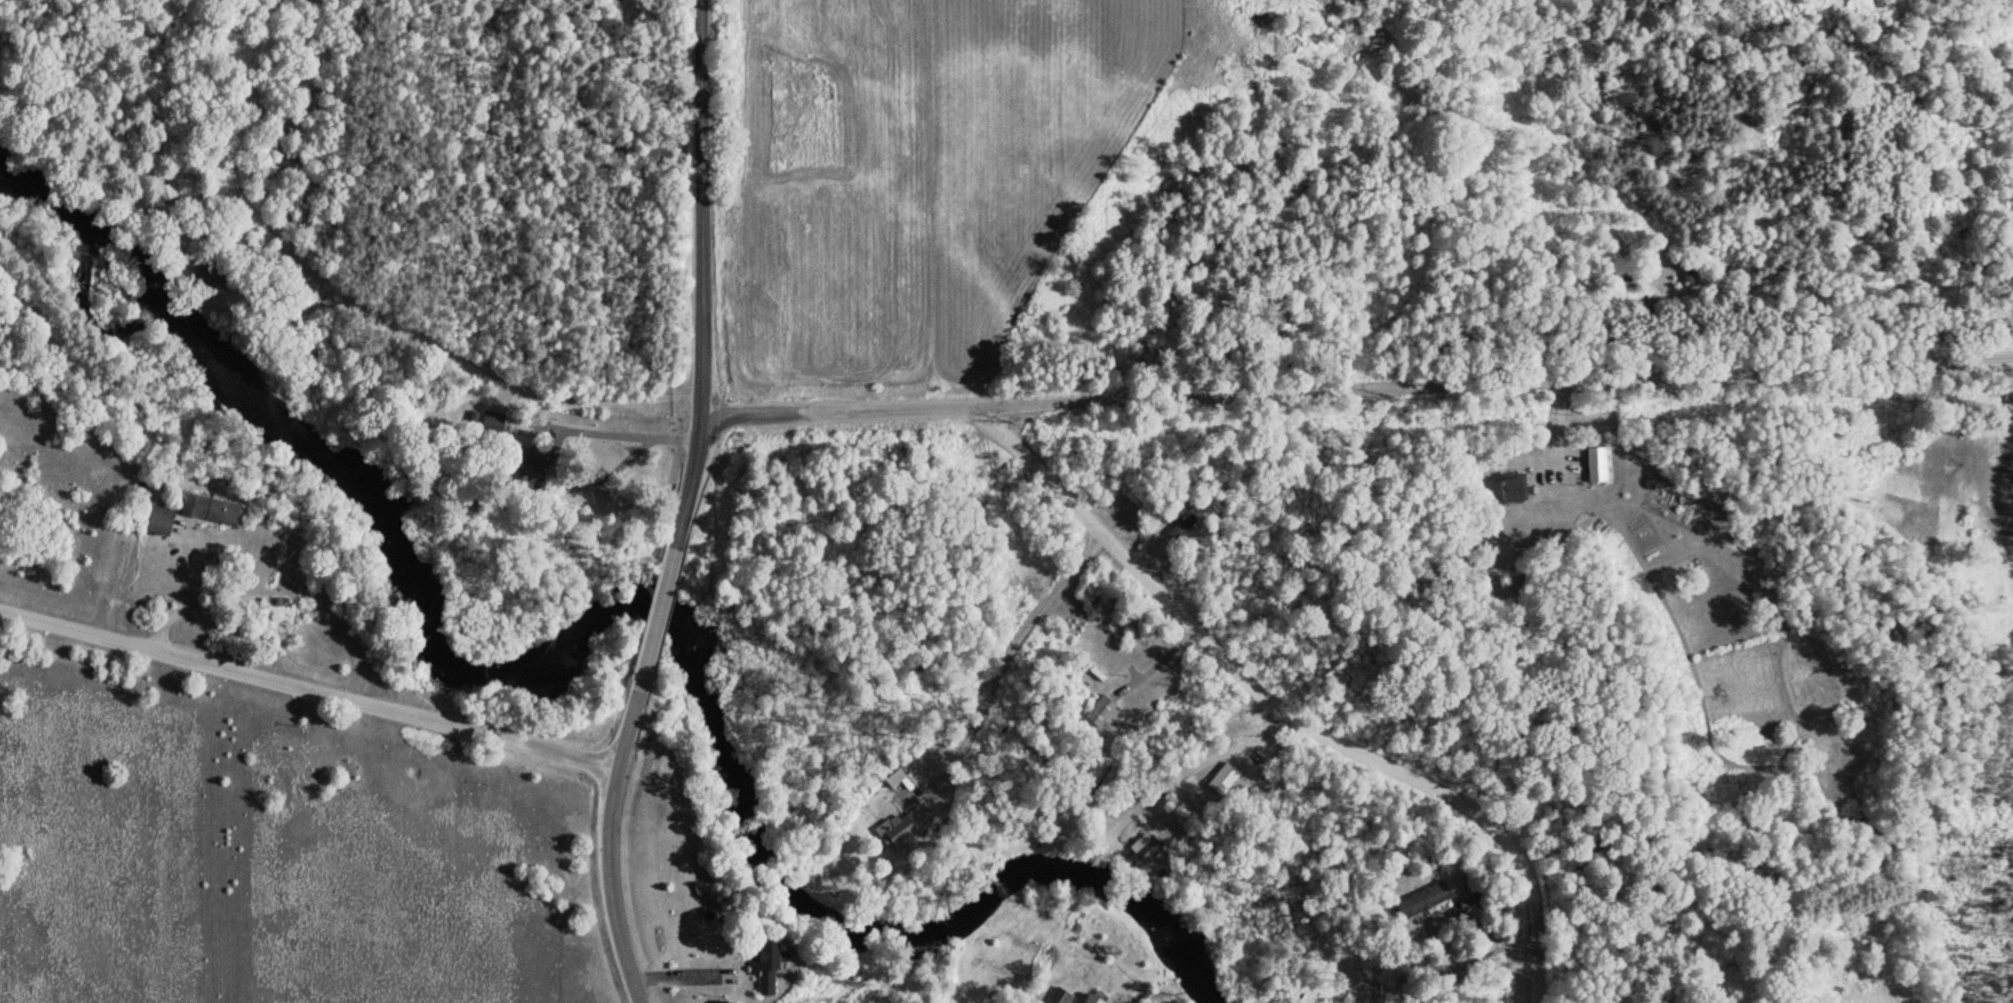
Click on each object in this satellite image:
road: (349, 52)
road: (1943, 165)
building: (203, 274)
road: (704, 275)
road: (1360, 376)
building: (1593, 464)
building: (1509, 489)
building: (207, 509)
building: (157, 519)
building: (1181, 520)
river: (616, 608)
road: (653, 618)
road: (307, 685)
road: (1284, 708)
building: (1097, 710)
road: (624, 728)
building: (1266, 766)
building: (1220, 779)
building: (894, 831)
building: (1140, 848)
road: (610, 886)
building: (1420, 899)
building: (762, 966)
building: (1056, 996)
building: (1092, 997)

